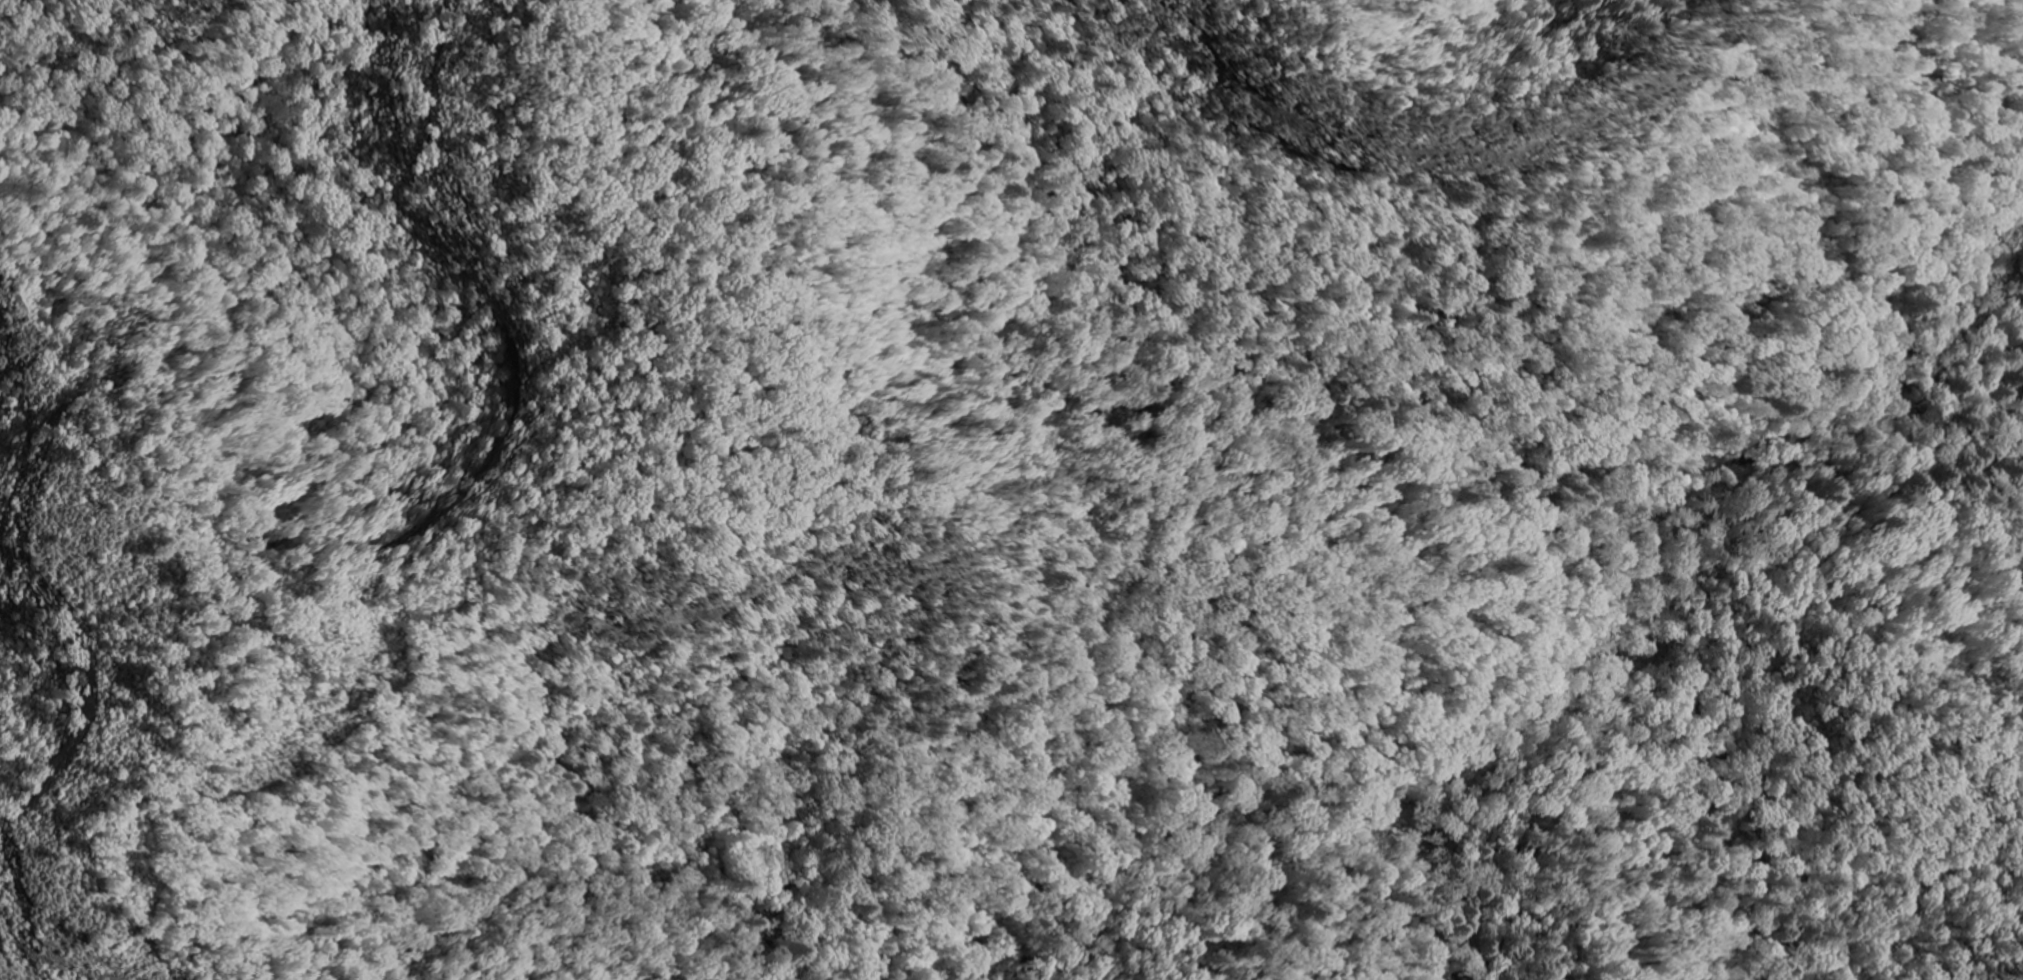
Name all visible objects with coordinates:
road: (1433, 103)
road: (1087, 342)
road: (525, 531)
road: (1596, 671)
road: (1741, 825)

